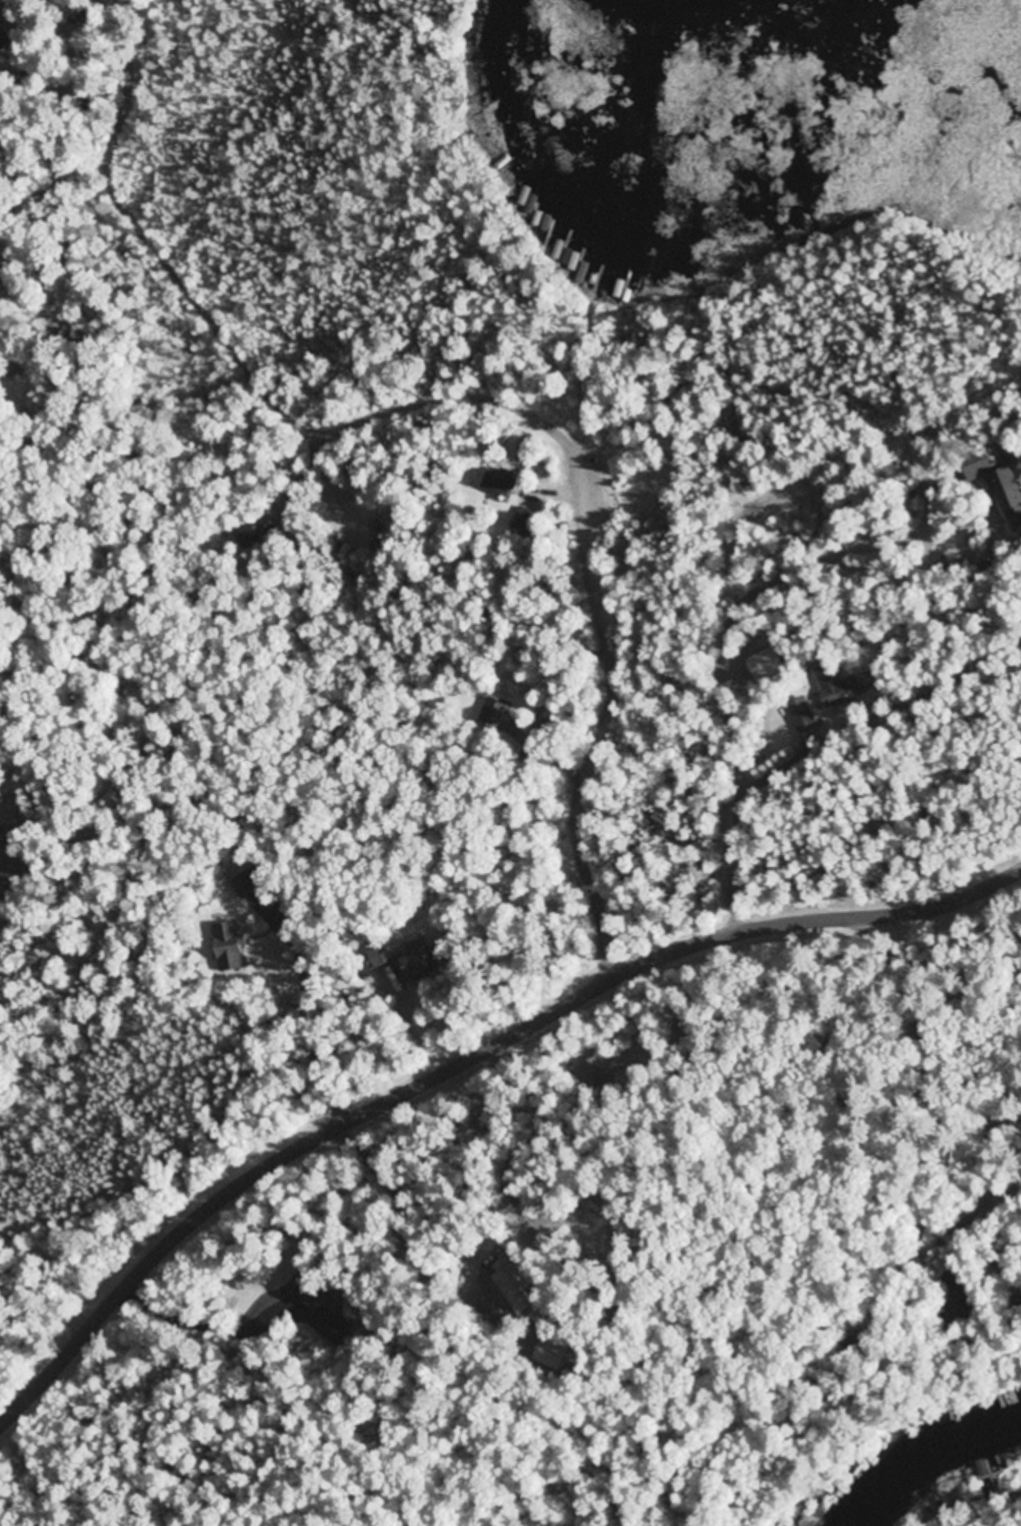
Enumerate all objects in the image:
building: (2, 45)
road: (498, 399)
building: (504, 484)
building: (999, 487)
road: (806, 674)
building: (836, 686)
building: (494, 713)
building: (803, 714)
building: (230, 947)
building: (380, 957)
building: (410, 964)
road: (467, 1060)
road: (934, 1071)
road: (495, 1168)
building: (304, 1293)
building: (960, 1296)
building: (1006, 1400)
river: (939, 1474)

